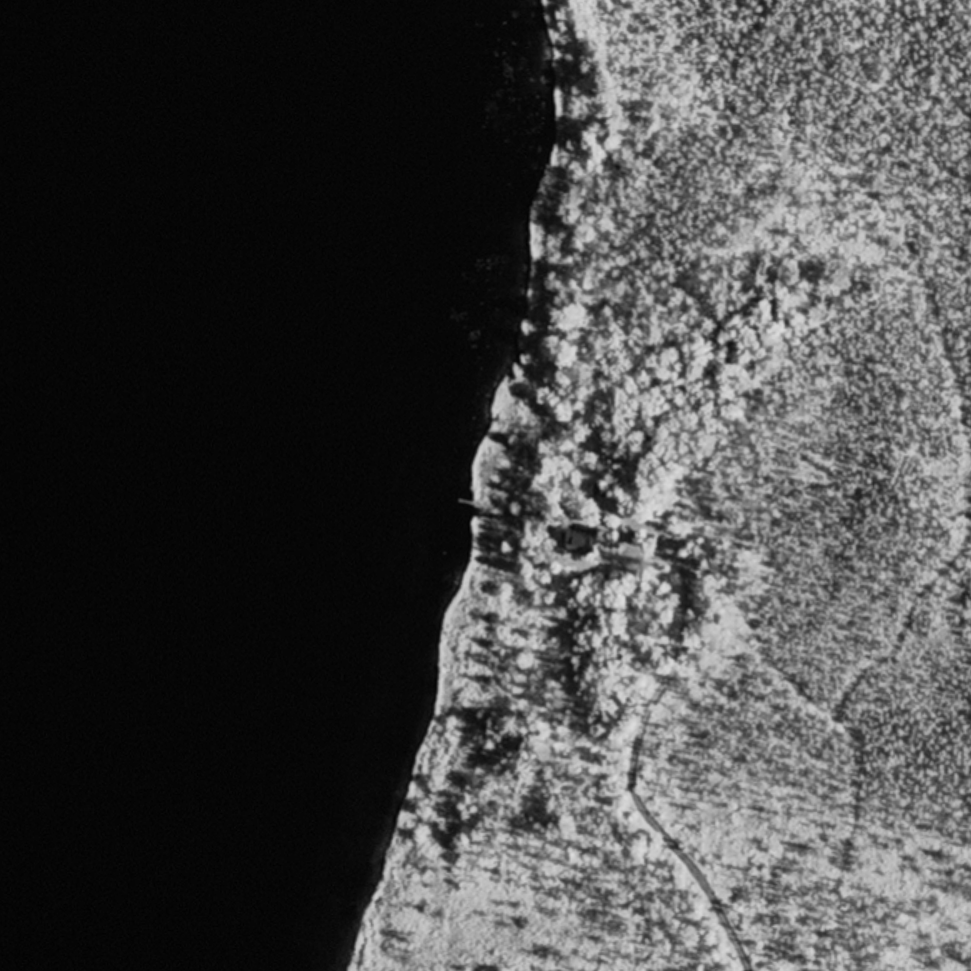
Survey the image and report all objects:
building: (581, 537)

